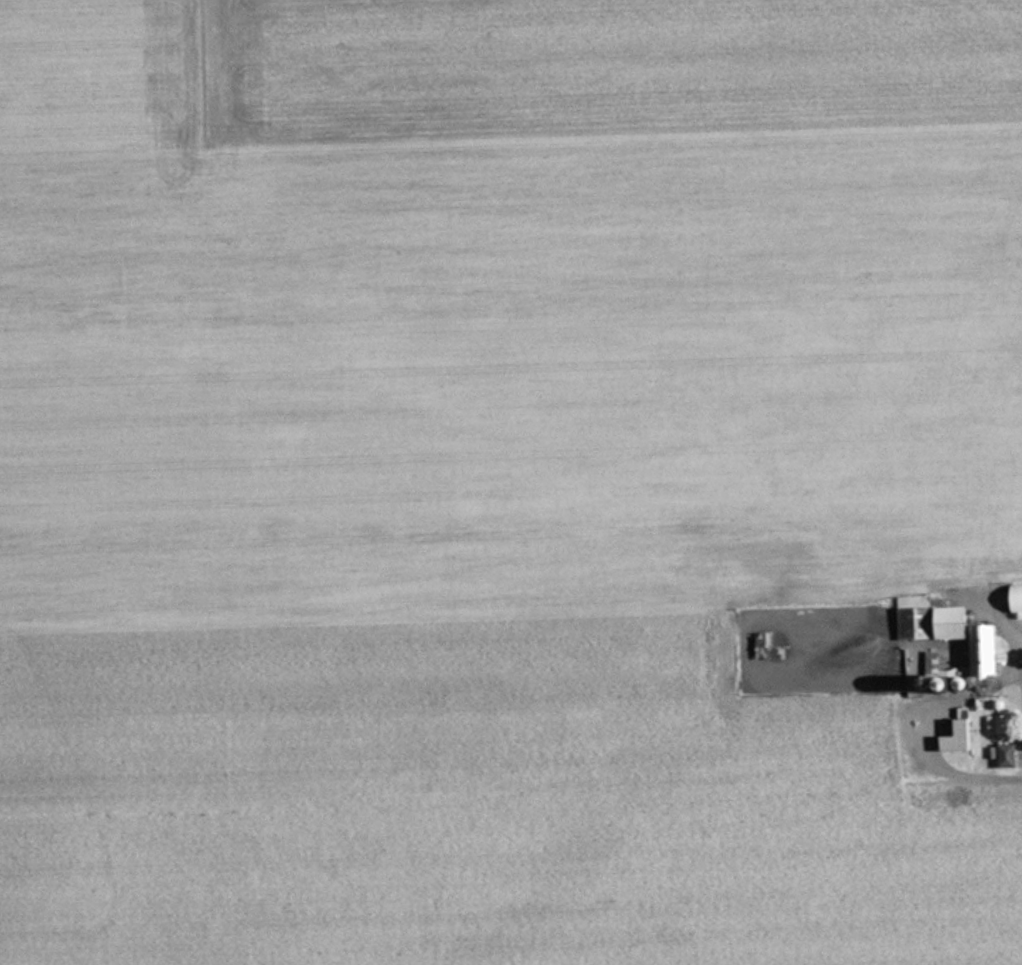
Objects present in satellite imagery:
building: (1016, 597)
building: (949, 628)
building: (773, 645)
building: (999, 723)
building: (961, 736)
building: (1008, 755)

